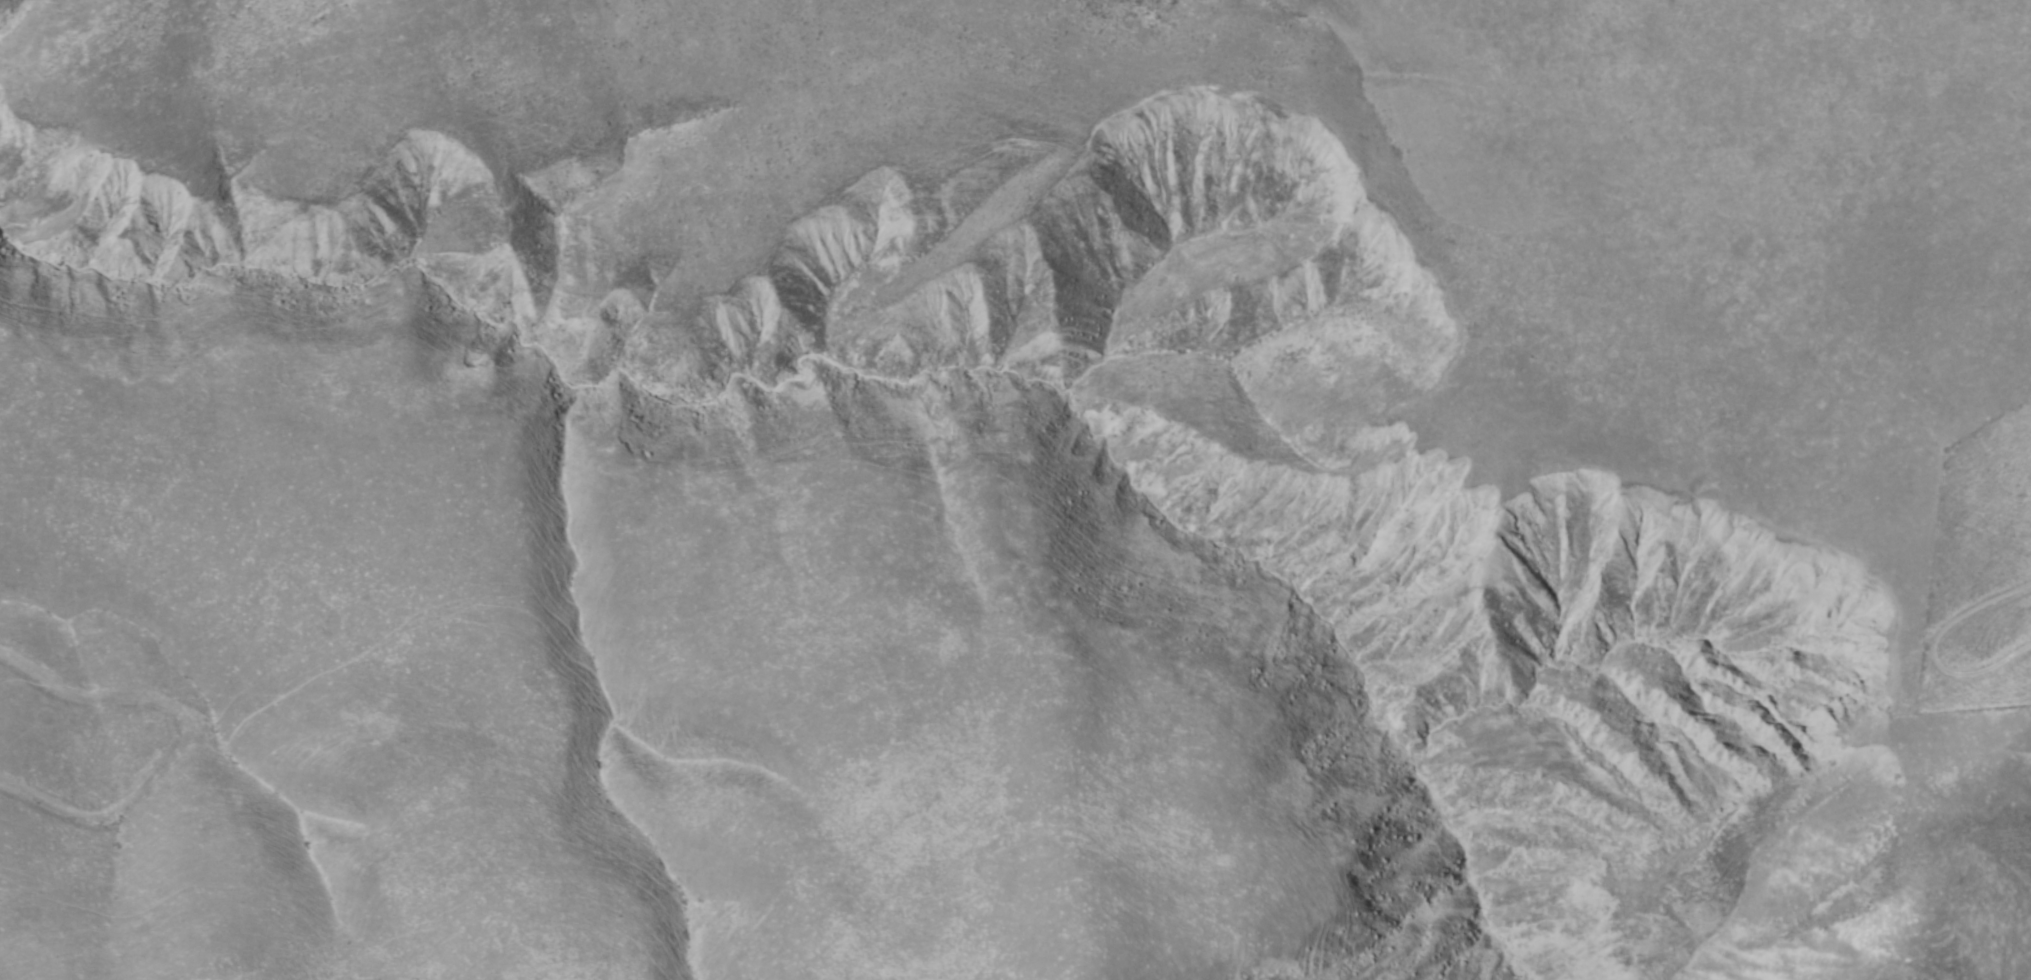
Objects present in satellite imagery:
road: (1934, 644)

